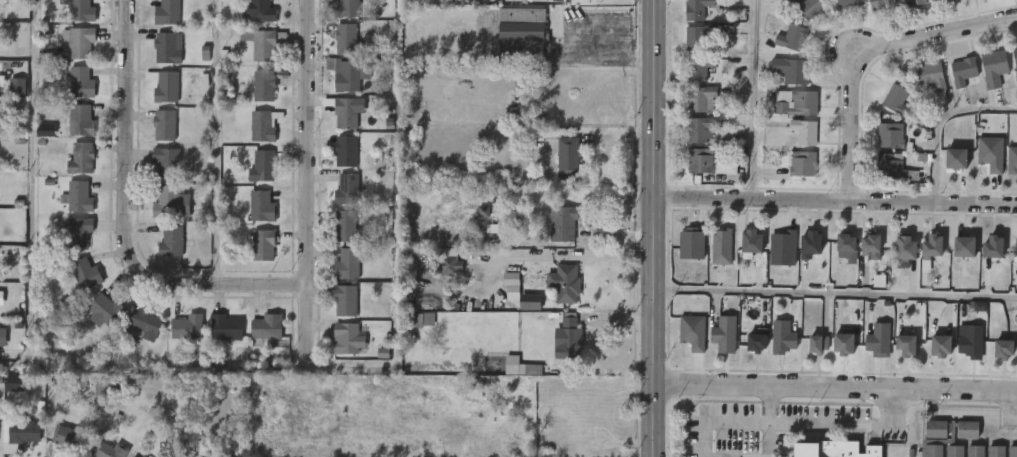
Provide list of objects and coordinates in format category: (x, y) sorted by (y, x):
building: (559, 0)
building: (930, 0)
building: (934, 0)
building: (910, 2)
building: (2, 3)
building: (846, 3)
building: (878, 3)
building: (807, 7)
building: (347, 9)
building: (698, 9)
building: (82, 10)
building: (265, 11)
building: (169, 12)
building: (521, 29)
building: (791, 37)
building: (699, 38)
building: (347, 40)
building: (82, 42)
building: (263, 42)
building: (168, 48)
road: (869, 54)
building: (1014, 60)
building: (992, 67)
building: (700, 69)
building: (789, 69)
building: (961, 70)
building: (345, 75)
building: (930, 75)
building: (83, 82)
building: (266, 85)
building: (17, 86)
building: (169, 87)
building: (702, 99)
road: (753, 99)
building: (894, 99)
building: (797, 103)
building: (348, 113)
building: (83, 120)
road: (938, 122)
building: (265, 125)
building: (164, 126)
building: (701, 130)
building: (803, 131)
building: (890, 136)
road: (215, 143)
building: (346, 152)
building: (989, 153)
building: (565, 157)
building: (83, 158)
building: (953, 158)
building: (1011, 160)
building: (700, 163)
building: (167, 164)
building: (802, 164)
building: (265, 166)
building: (896, 169)
road: (309, 180)
building: (349, 189)
building: (80, 196)
road: (835, 200)
building: (172, 204)
building: (264, 207)
road: (128, 223)
building: (563, 223)
building: (347, 228)
road: (653, 228)
building: (81, 232)
building: (173, 242)
building: (754, 243)
building: (843, 243)
building: (266, 244)
building: (689, 244)
building: (807, 244)
building: (867, 244)
building: (723, 247)
building: (929, 247)
building: (961, 247)
building: (990, 247)
building: (1015, 247)
building: (781, 248)
building: (901, 251)
building: (347, 264)
building: (408, 265)
building: (450, 265)
building: (87, 273)
building: (562, 283)
building: (511, 286)
road: (834, 294)
building: (346, 299)
building: (530, 302)
building: (411, 303)
building: (107, 309)
building: (420, 319)
building: (145, 323)
building: (187, 327)
building: (226, 327)
building: (270, 327)
building: (690, 332)
building: (722, 335)
building: (2, 337)
building: (781, 337)
building: (350, 340)
building: (566, 340)
building: (877, 341)
building: (846, 342)
building: (752, 343)
building: (970, 343)
building: (818, 344)
building: (903, 345)
building: (940, 346)
building: (1000, 349)
building: (520, 367)
building: (17, 382)
building: (106, 387)
road: (835, 387)
road: (771, 394)
road: (893, 405)
road: (774, 420)
road: (886, 421)
road: (770, 429)
building: (19, 432)
building: (68, 437)
building: (936, 442)
building: (110, 450)
building: (832, 450)
building: (976, 450)
building: (995, 451)
building: (1012, 451)
building: (184, 453)
building: (136, 455)
building: (143, 456)

